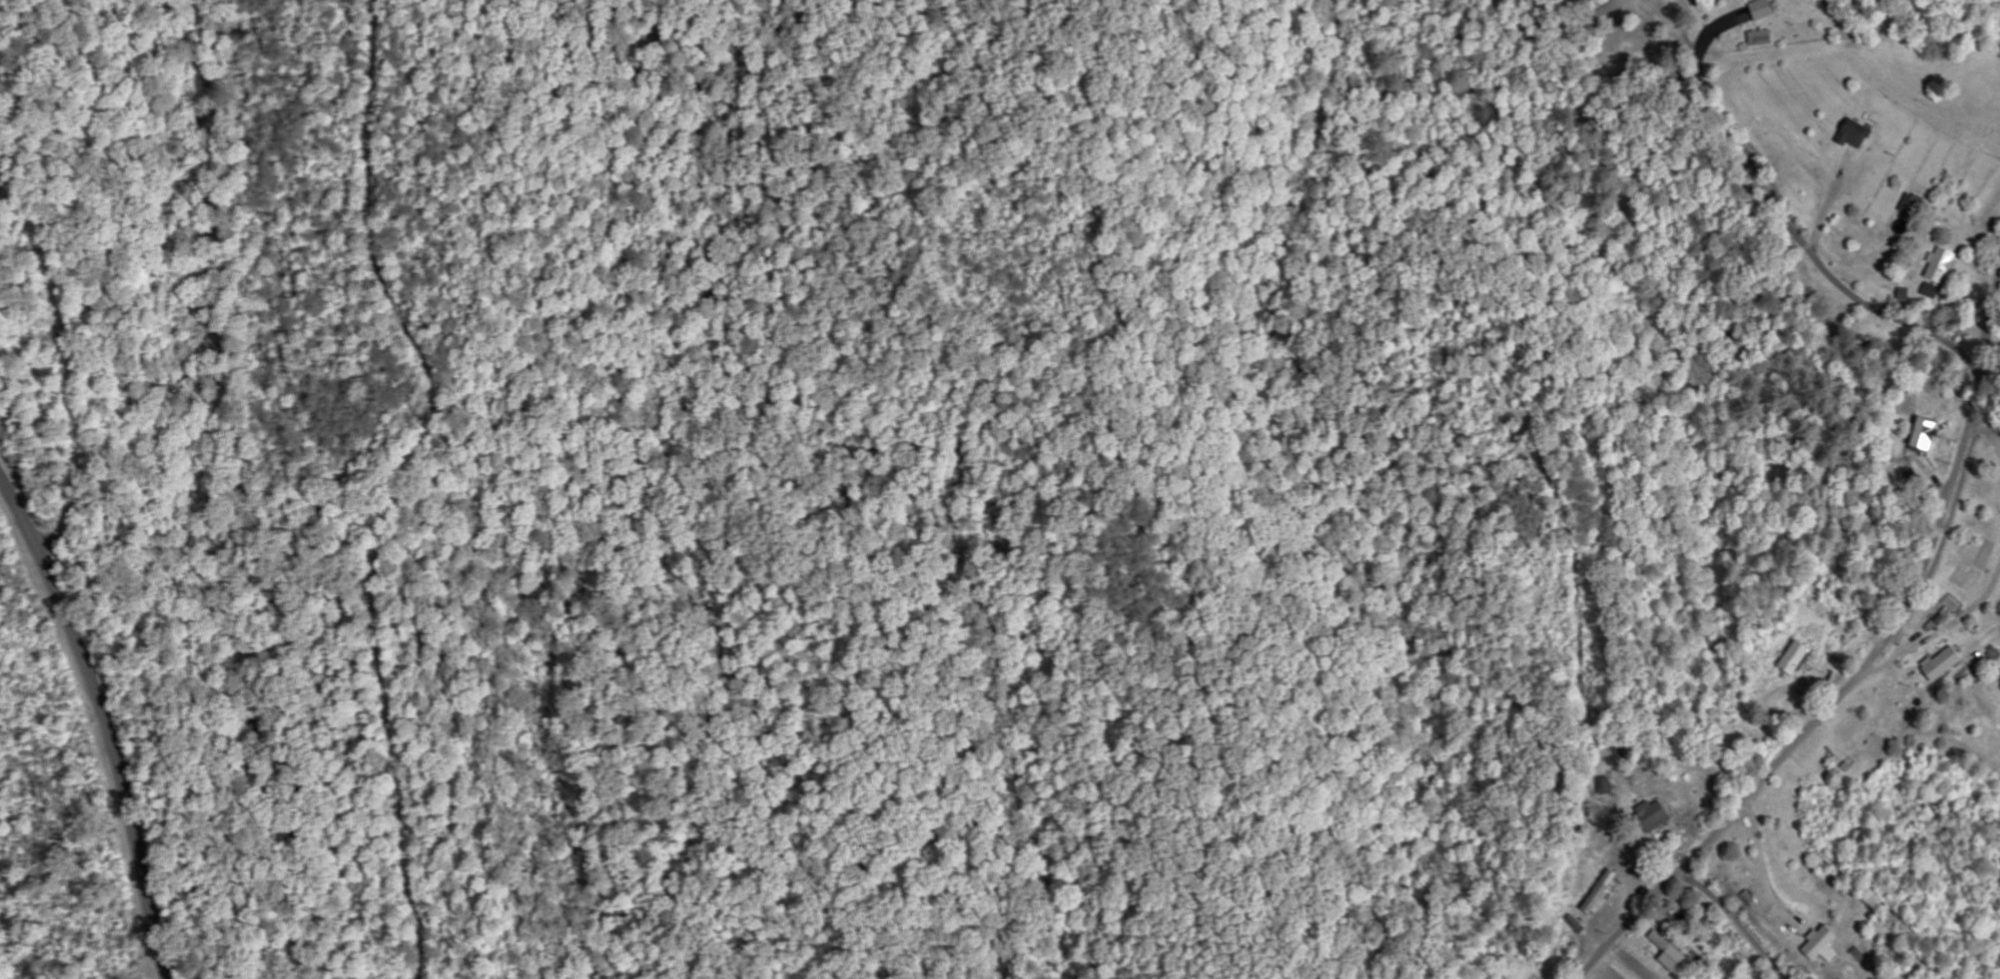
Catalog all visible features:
building: (1766, 9)
building: (1764, 37)
building: (1858, 134)
building: (1914, 204)
road: (1807, 245)
building: (1945, 264)
building: (1935, 292)
building: (1930, 433)
building: (1799, 657)
building: (1947, 664)
road: (1864, 671)
road: (106, 721)
building: (1659, 815)
building: (1604, 891)
road: (1764, 914)
building: (1826, 945)
building: (1673, 952)

